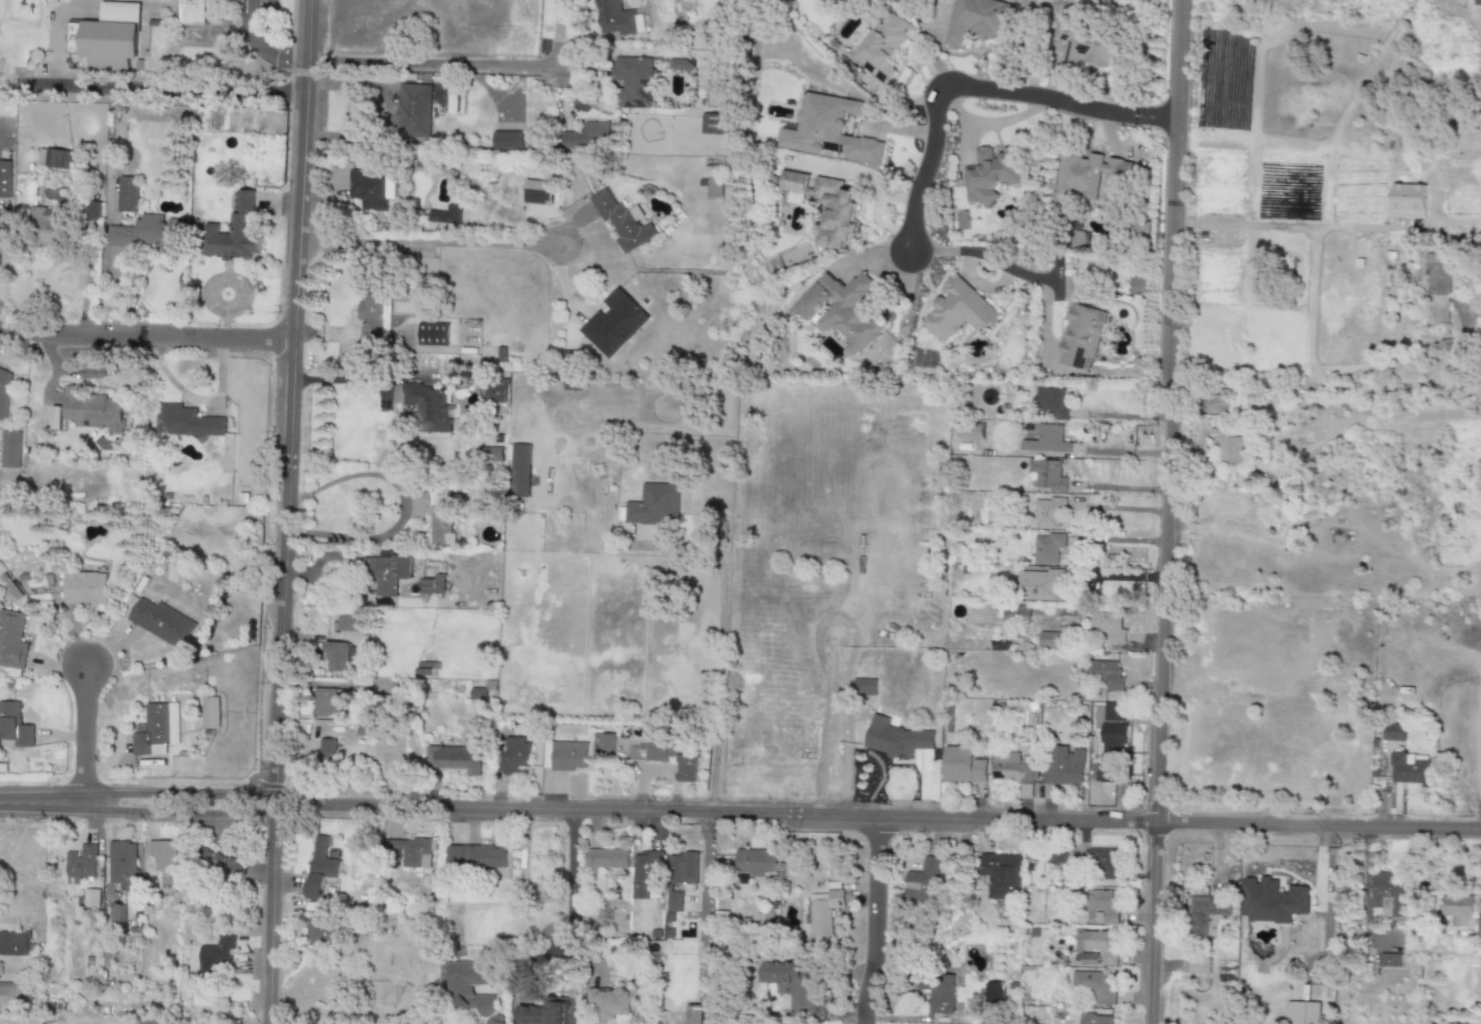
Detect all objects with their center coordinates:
building: (1477, 2)
building: (191, 12)
building: (617, 19)
building: (977, 21)
building: (107, 37)
park: (12, 46)
building: (881, 46)
road: (257, 47)
building: (1092, 47)
road: (438, 63)
building: (634, 82)
road: (977, 85)
road: (152, 95)
building: (413, 111)
building: (710, 124)
building: (828, 130)
building: (588, 136)
building: (511, 141)
building: (54, 158)
building: (990, 174)
building: (1089, 174)
building: (5, 179)
building: (714, 187)
building: (371, 189)
building: (538, 192)
building: (128, 194)
building: (827, 207)
building: (93, 211)
building: (445, 215)
building: (623, 221)
building: (234, 233)
building: (149, 234)
road: (436, 240)
road: (983, 256)
building: (1439, 287)
building: (841, 311)
building: (958, 311)
building: (614, 323)
building: (433, 334)
building: (1080, 336)
road: (145, 339)
road: (89, 373)
road: (342, 380)
road: (1318, 386)
building: (495, 389)
building: (4, 392)
road: (198, 399)
building: (1050, 404)
building: (429, 408)
building: (92, 410)
building: (55, 418)
building: (186, 422)
building: (971, 434)
building: (1048, 440)
building: (1229, 446)
building: (10, 449)
building: (227, 454)
building: (489, 454)
building: (520, 472)
building: (1048, 475)
building: (420, 500)
road: (401, 505)
building: (654, 505)
road: (1118, 508)
road: (284, 511)
building: (1048, 512)
road: (1165, 512)
building: (441, 528)
road: (1116, 539)
building: (1045, 548)
building: (382, 576)
road: (1117, 576)
building: (433, 585)
building: (1039, 585)
building: (84, 589)
building: (1016, 615)
building: (349, 622)
building: (162, 623)
building: (1109, 626)
building: (12, 640)
building: (1051, 640)
building: (337, 657)
building: (427, 669)
building: (1106, 675)
building: (865, 690)
building: (478, 694)
road: (716, 703)
building: (327, 704)
building: (210, 713)
building: (14, 726)
building: (157, 730)
building: (1394, 733)
road: (83, 735)
building: (897, 738)
building: (1112, 740)
building: (606, 742)
building: (327, 750)
building: (513, 755)
building: (568, 756)
building: (454, 758)
building: (963, 766)
building: (1064, 767)
building: (1012, 768)
building: (1410, 768)
building: (688, 771)
road: (740, 812)
building: (413, 852)
building: (162, 856)
building: (476, 856)
building: (1056, 857)
building: (607, 859)
building: (122, 862)
building: (755, 862)
building: (80, 865)
building: (225, 866)
building: (1104, 867)
building: (320, 868)
building: (683, 870)
building: (646, 874)
building: (1002, 875)
road: (573, 877)
building: (921, 881)
building: (1388, 894)
building: (91, 898)
building: (1271, 901)
building: (674, 902)
building: (1101, 908)
building: (1459, 910)
building: (824, 911)
building: (115, 913)
building: (1205, 914)
road: (872, 922)
building: (1478, 926)
building: (320, 934)
building: (13, 944)
building: (1100, 946)
building: (216, 956)
building: (1390, 960)
building: (1199, 966)
building: (796, 986)
building: (1093, 986)
building: (14, 990)
building: (460, 990)
building: (938, 991)
building: (994, 992)
building: (617, 1004)
building: (548, 1012)
building: (1304, 1013)
building: (694, 1014)
building: (1095, 1019)

